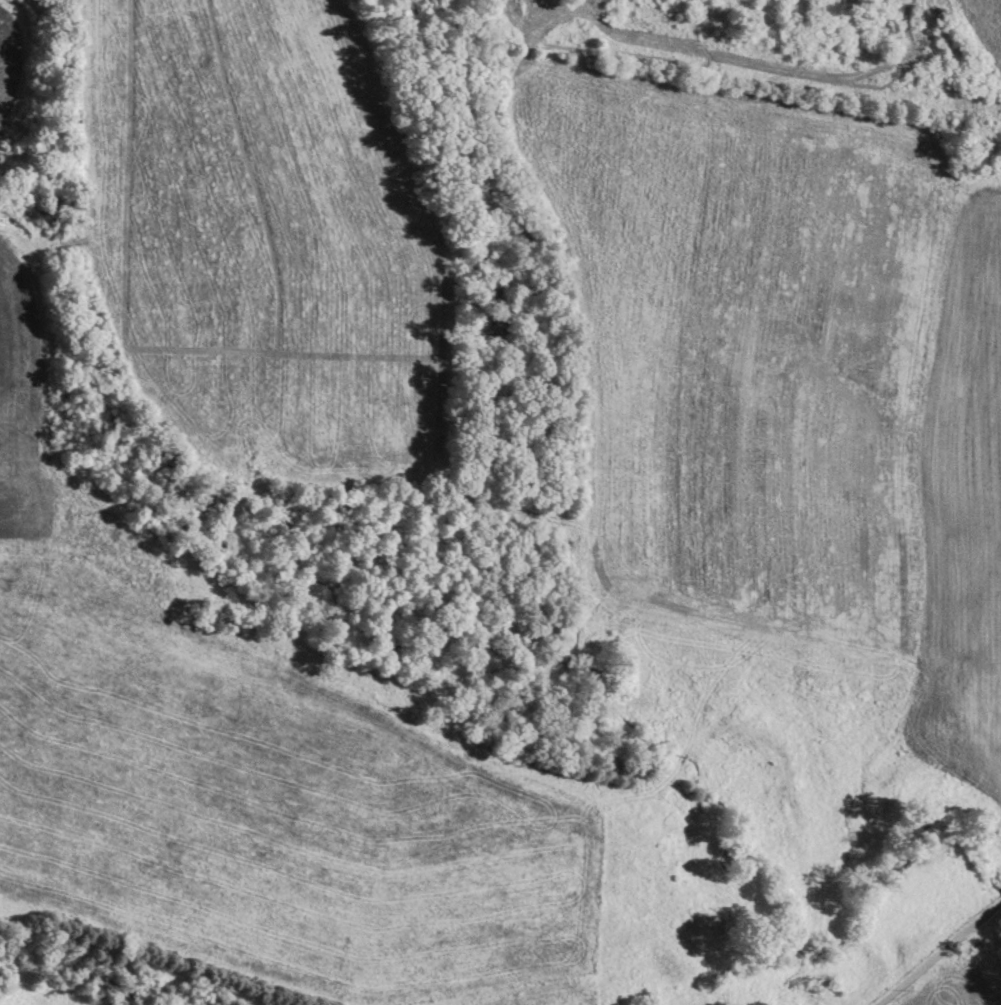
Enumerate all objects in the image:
road: (939, 953)

